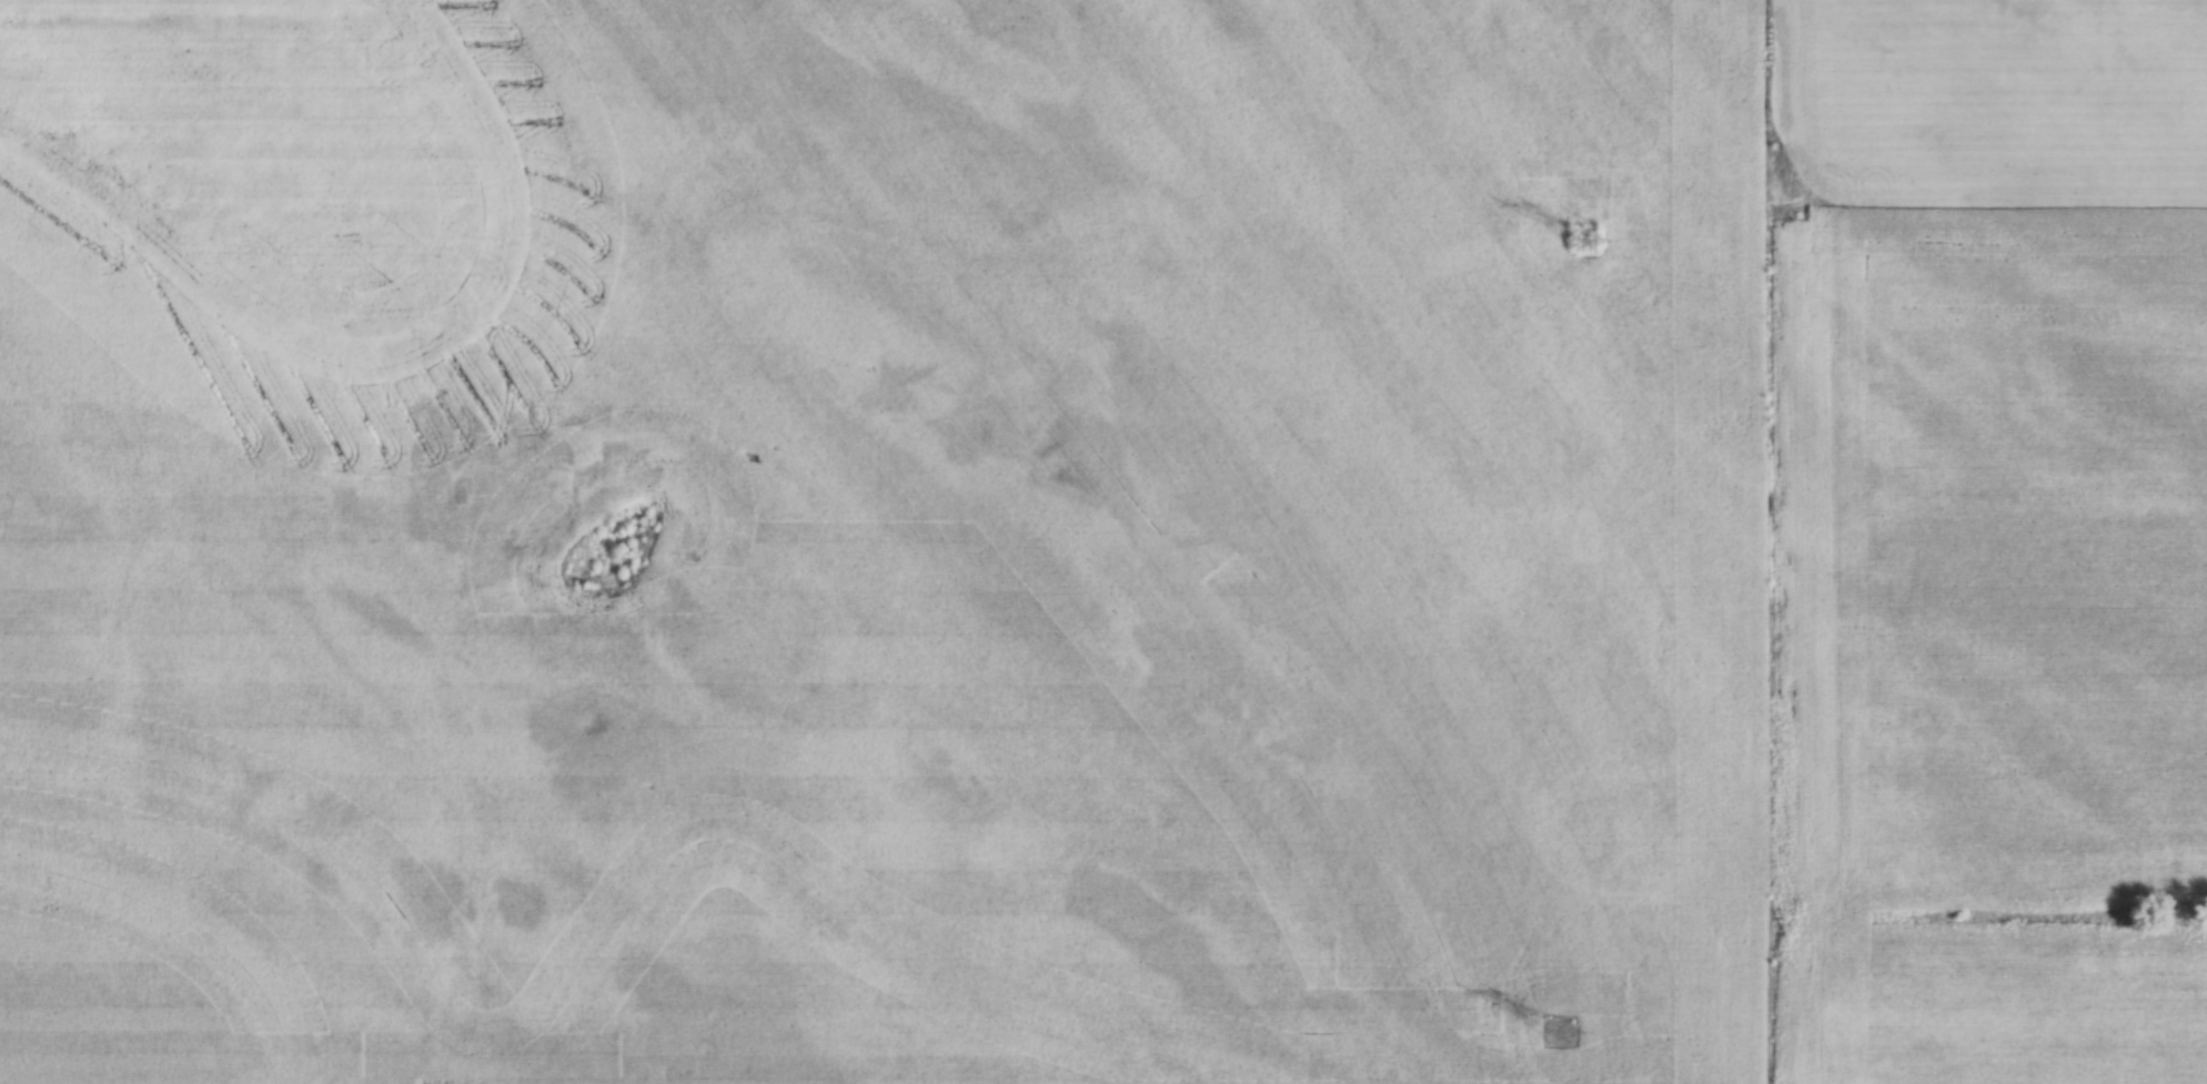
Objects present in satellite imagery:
power tower: (1590, 240)
crop: (1103, 541)
power tower: (1568, 1030)

